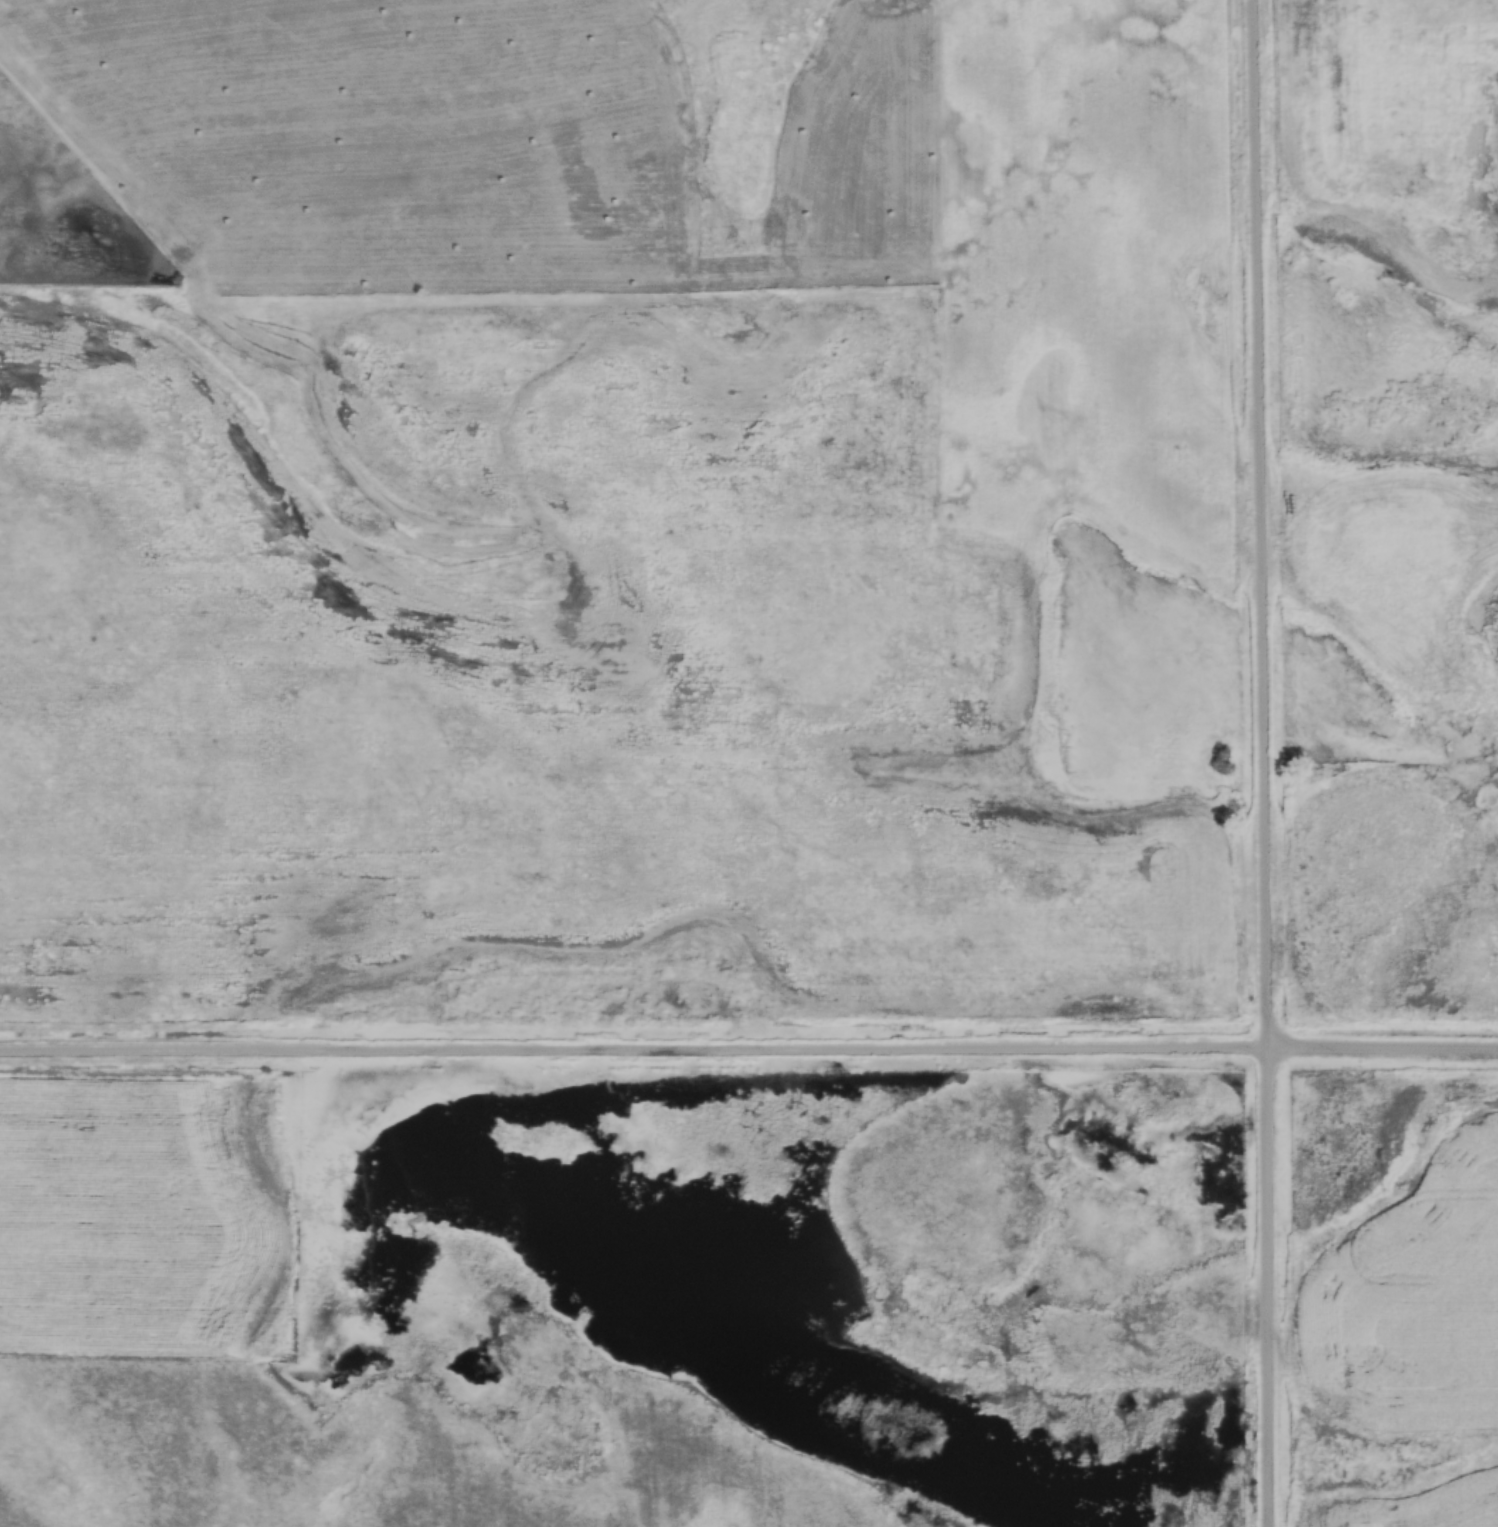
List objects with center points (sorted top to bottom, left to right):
road: (1263, 523)
road: (749, 1049)
road: (1269, 1287)

